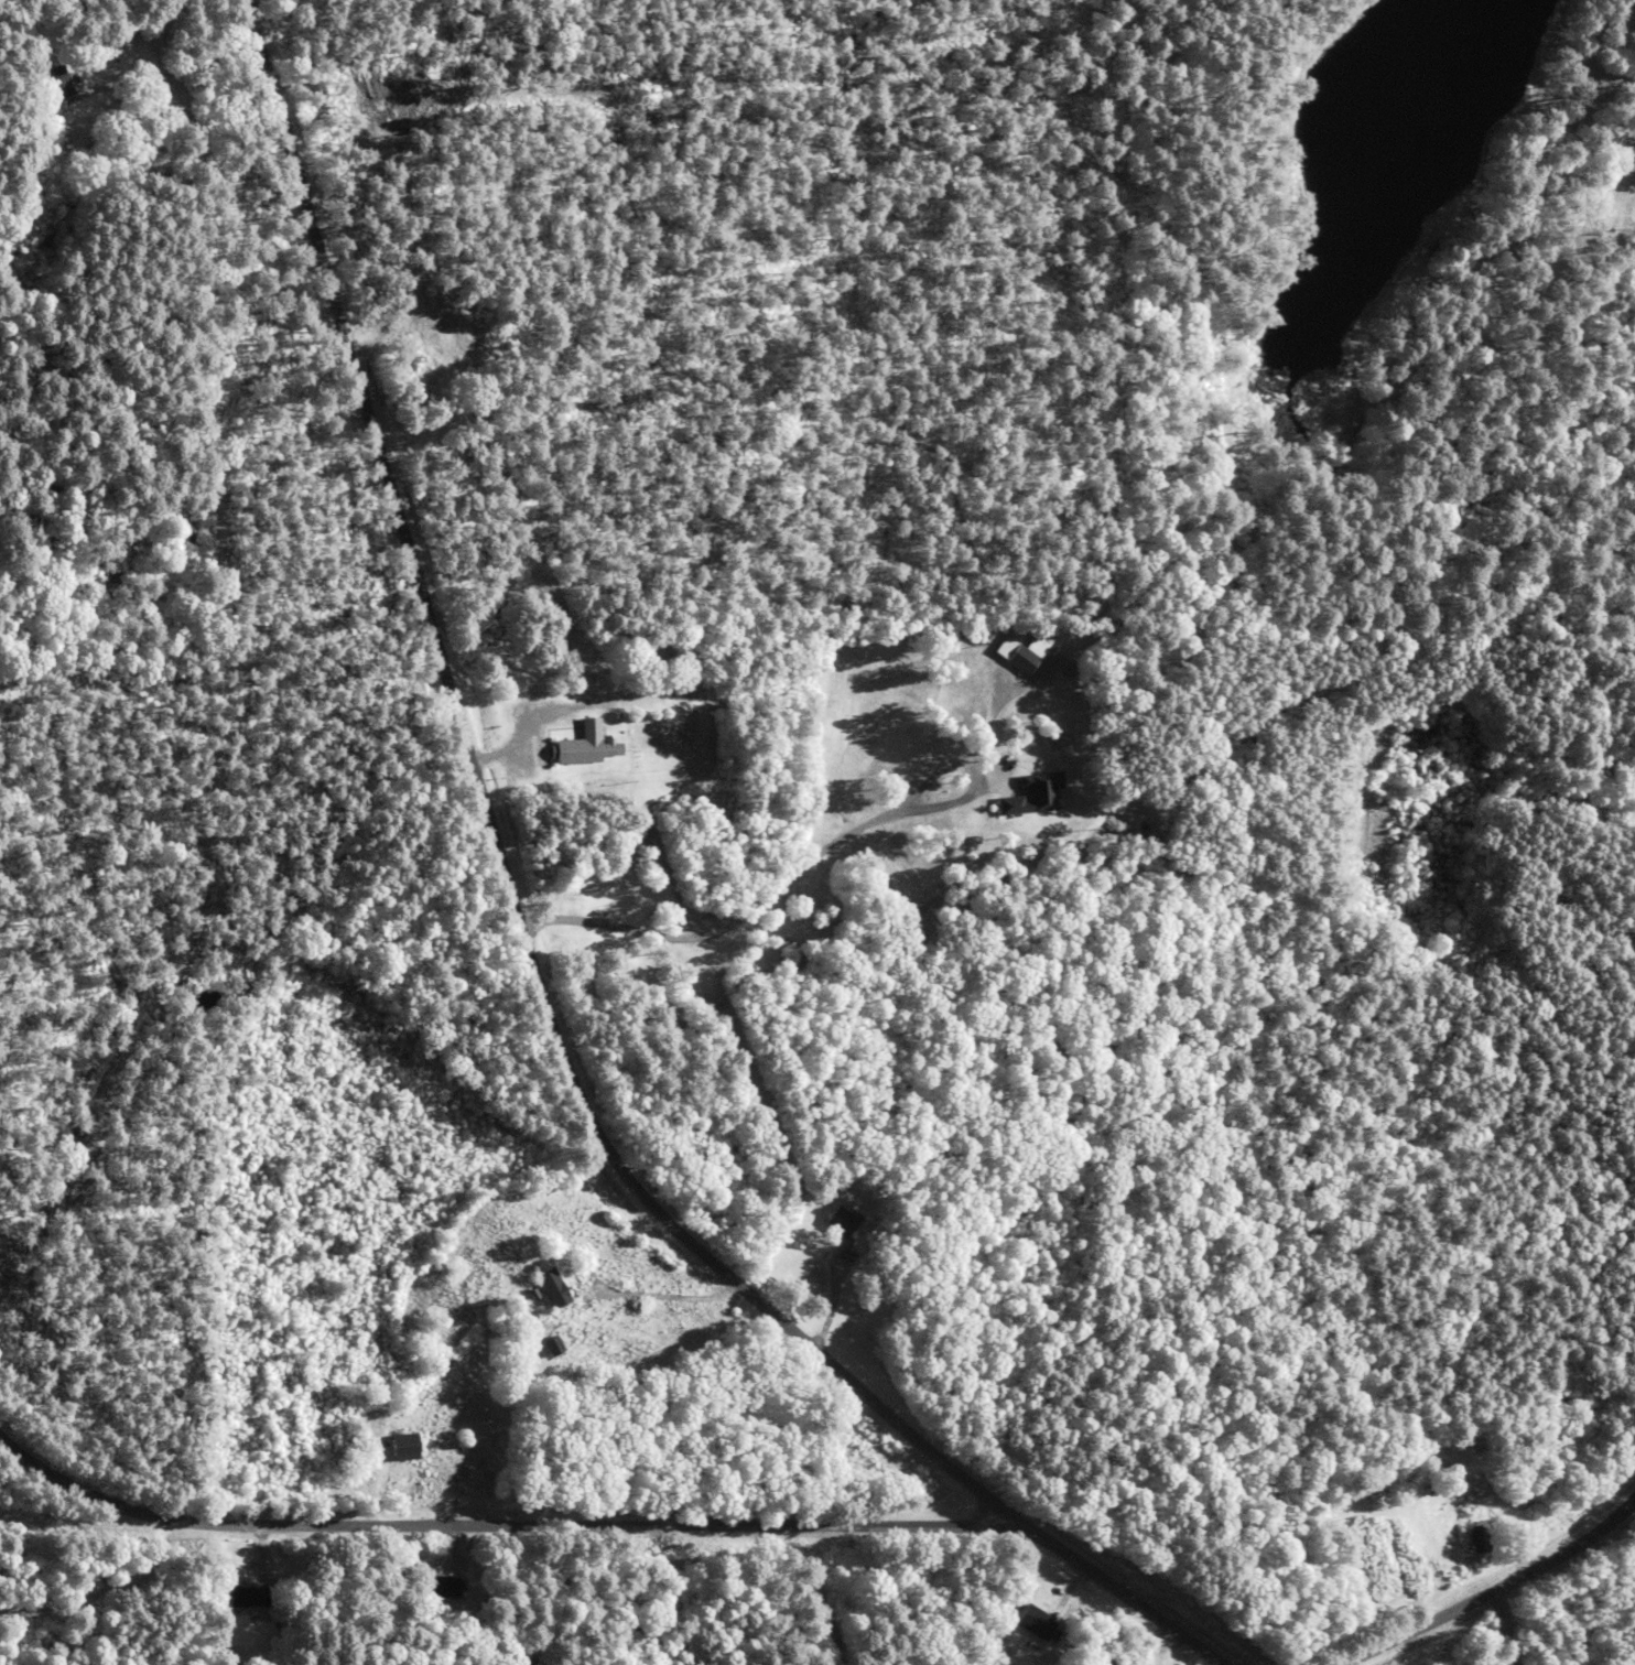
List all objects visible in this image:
road: (175, 6)
building: (50, 84)
building: (1633, 213)
building: (1013, 659)
building: (675, 667)
building: (582, 745)
building: (1026, 796)
building: (841, 1220)
building: (540, 1286)
building: (542, 1344)
building: (394, 1446)
road: (117, 1494)
building: (1480, 1536)
road: (1490, 1576)
building: (431, 1587)
road: (1128, 1588)
building: (236, 1596)
building: (1032, 1621)

